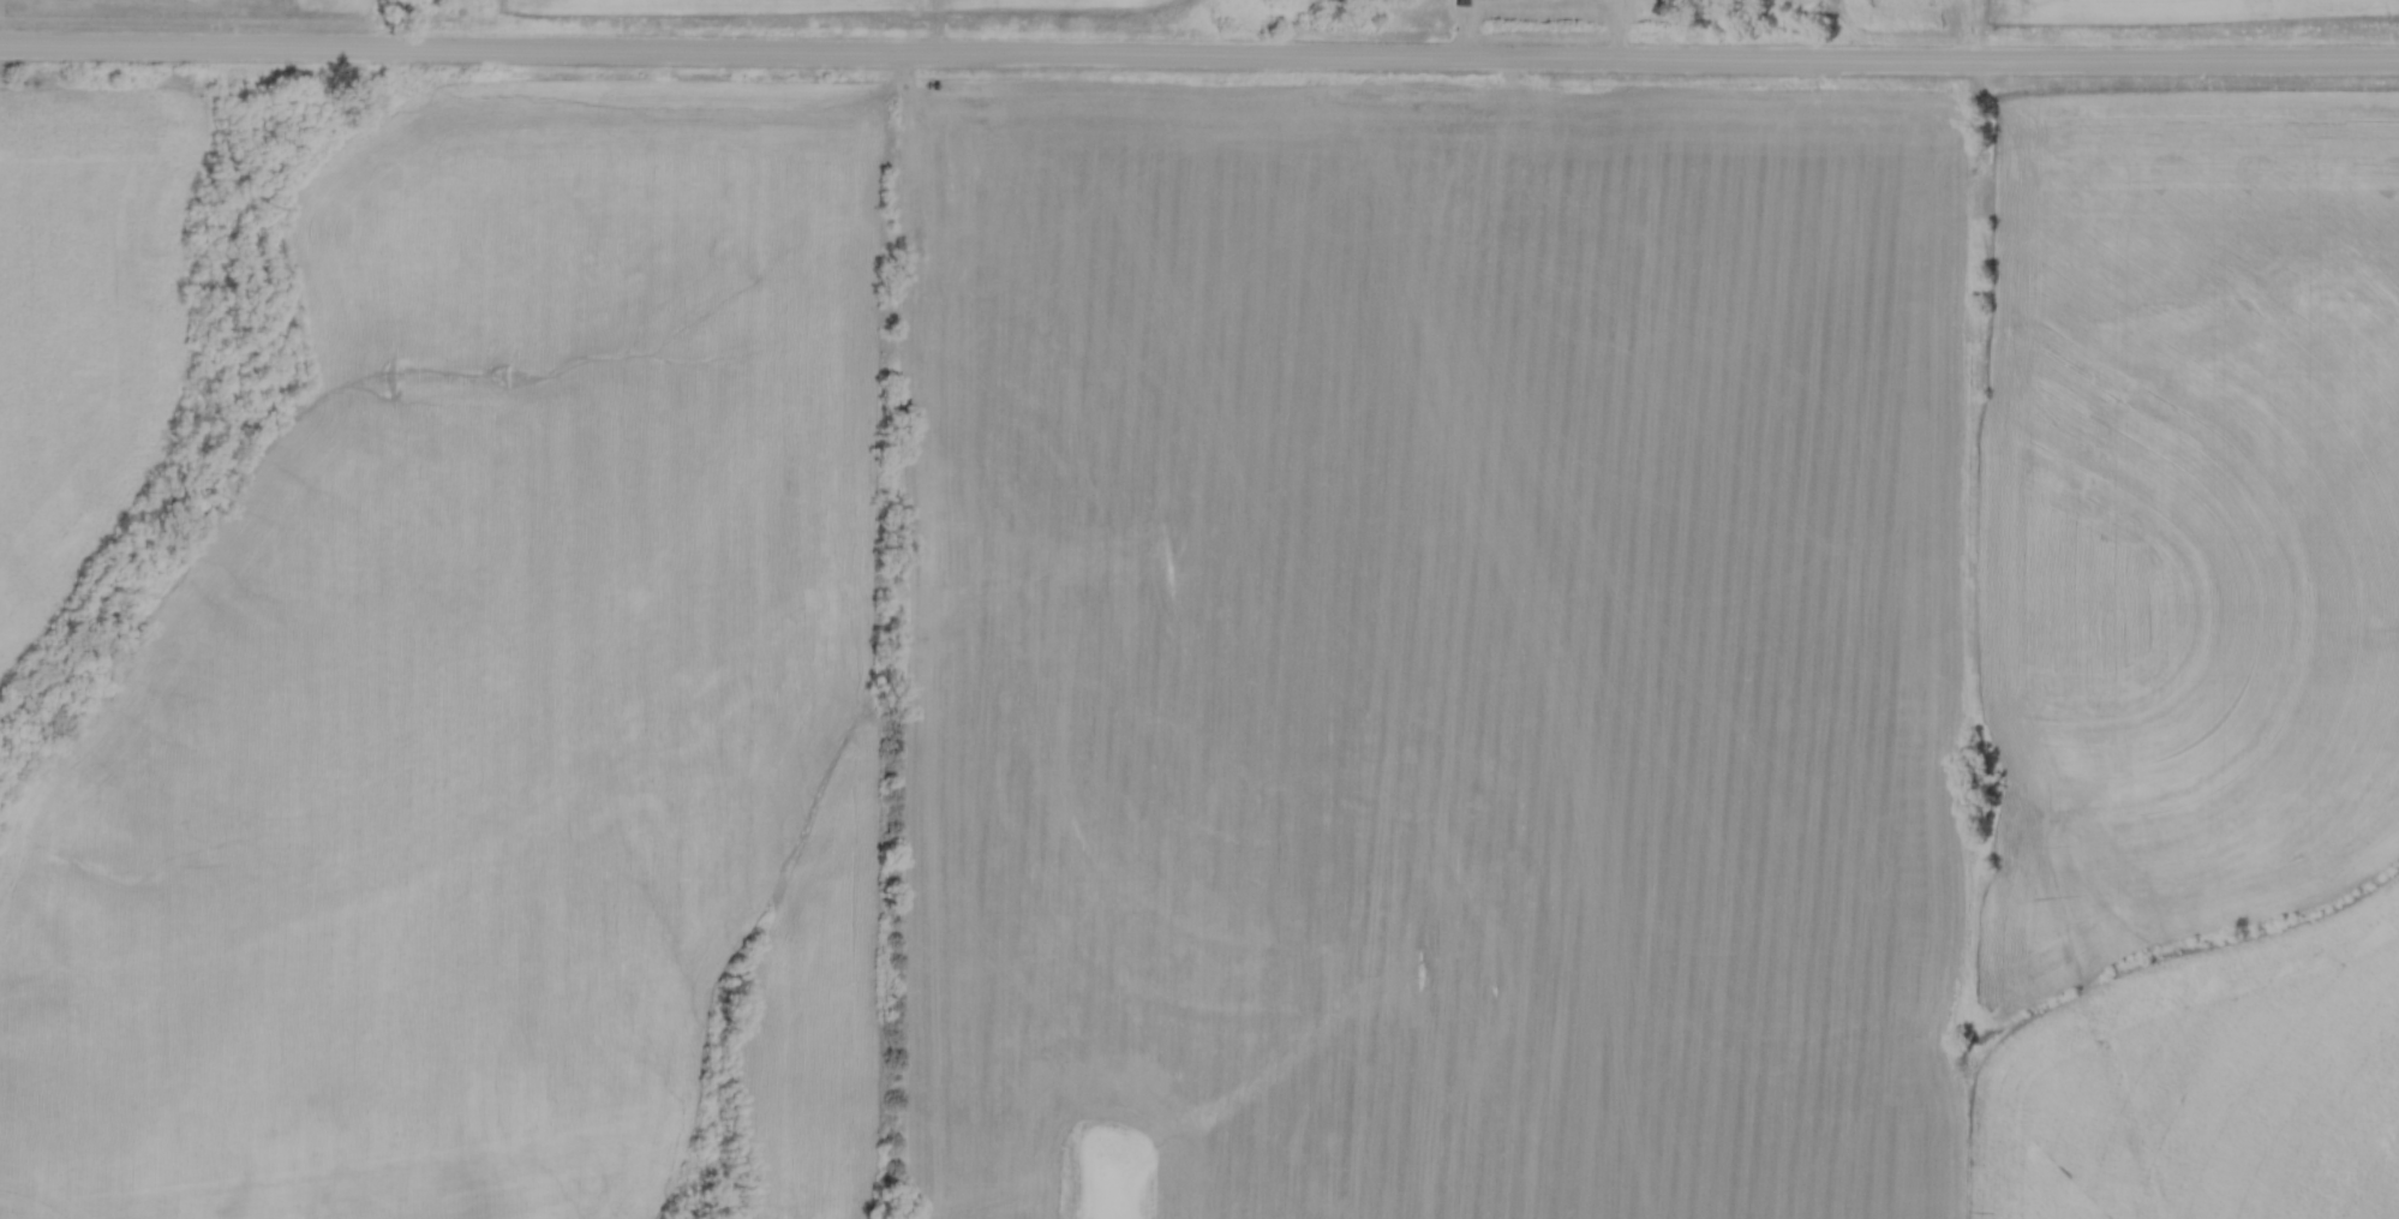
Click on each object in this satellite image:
building: (1460, 1)
road: (1198, 54)

